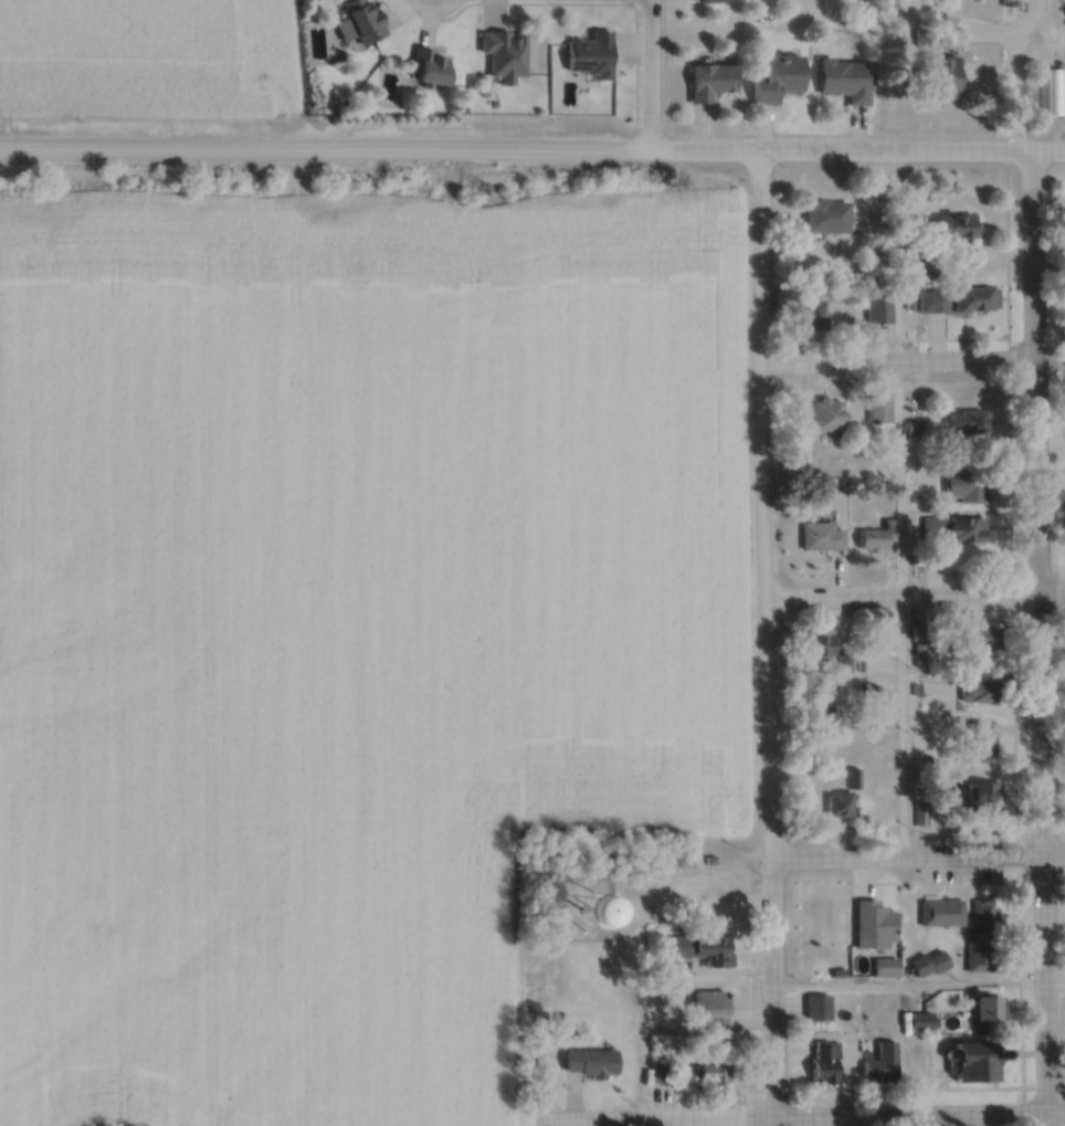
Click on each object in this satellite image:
building: (705, 0)
building: (1009, 3)
building: (357, 21)
building: (503, 53)
building: (589, 55)
building: (426, 67)
road: (1014, 70)
road: (646, 78)
building: (774, 78)
building: (938, 78)
building: (844, 81)
building: (708, 82)
building: (1048, 90)
road: (324, 156)
road: (856, 157)
building: (824, 218)
building: (950, 228)
building: (926, 266)
building: (974, 301)
building: (932, 302)
building: (877, 307)
building: (813, 312)
road: (911, 365)
road: (895, 379)
building: (877, 410)
building: (822, 415)
building: (968, 424)
building: (964, 486)
building: (953, 530)
building: (877, 537)
building: (820, 538)
road: (914, 601)
crop: (337, 627)
road: (765, 641)
building: (978, 641)
road: (1040, 641)
building: (816, 644)
building: (978, 693)
building: (816, 699)
road: (900, 730)
building: (980, 740)
building: (982, 797)
building: (837, 806)
building: (924, 814)
road: (918, 859)
water tower: (584, 908)
building: (940, 914)
building: (568, 915)
building: (872, 927)
building: (981, 938)
building: (699, 951)
building: (930, 966)
building: (883, 969)
road: (918, 988)
building: (706, 1006)
building: (816, 1009)
building: (984, 1011)
building: (919, 1022)
building: (588, 1063)
building: (822, 1064)
building: (879, 1064)
building: (969, 1064)
building: (710, 1073)
building: (657, 1074)
road: (801, 1119)

